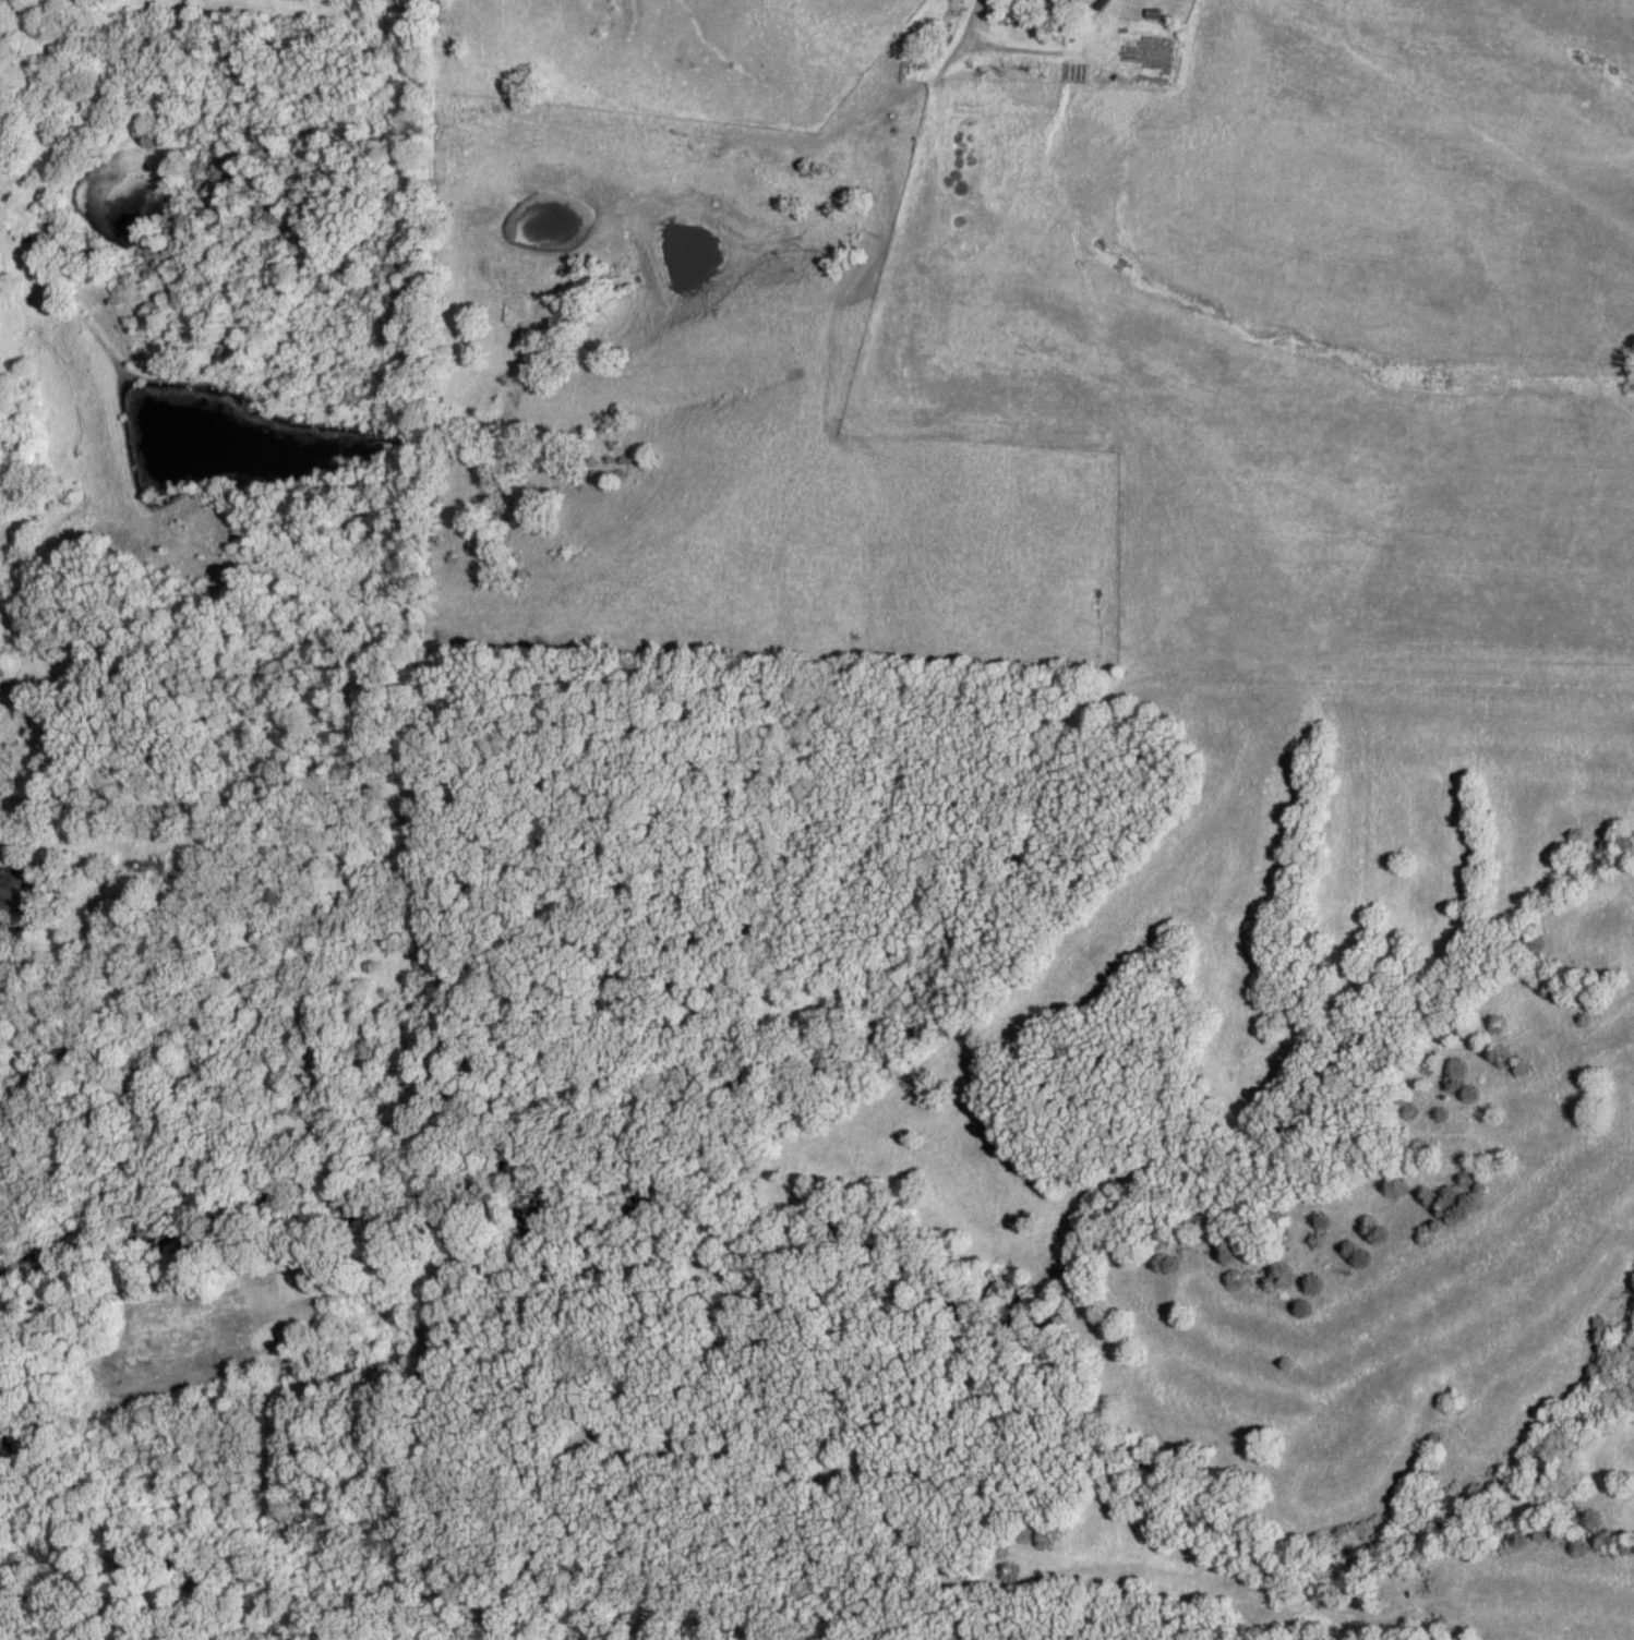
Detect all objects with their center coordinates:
building: (915, 71)
road: (945, 73)

